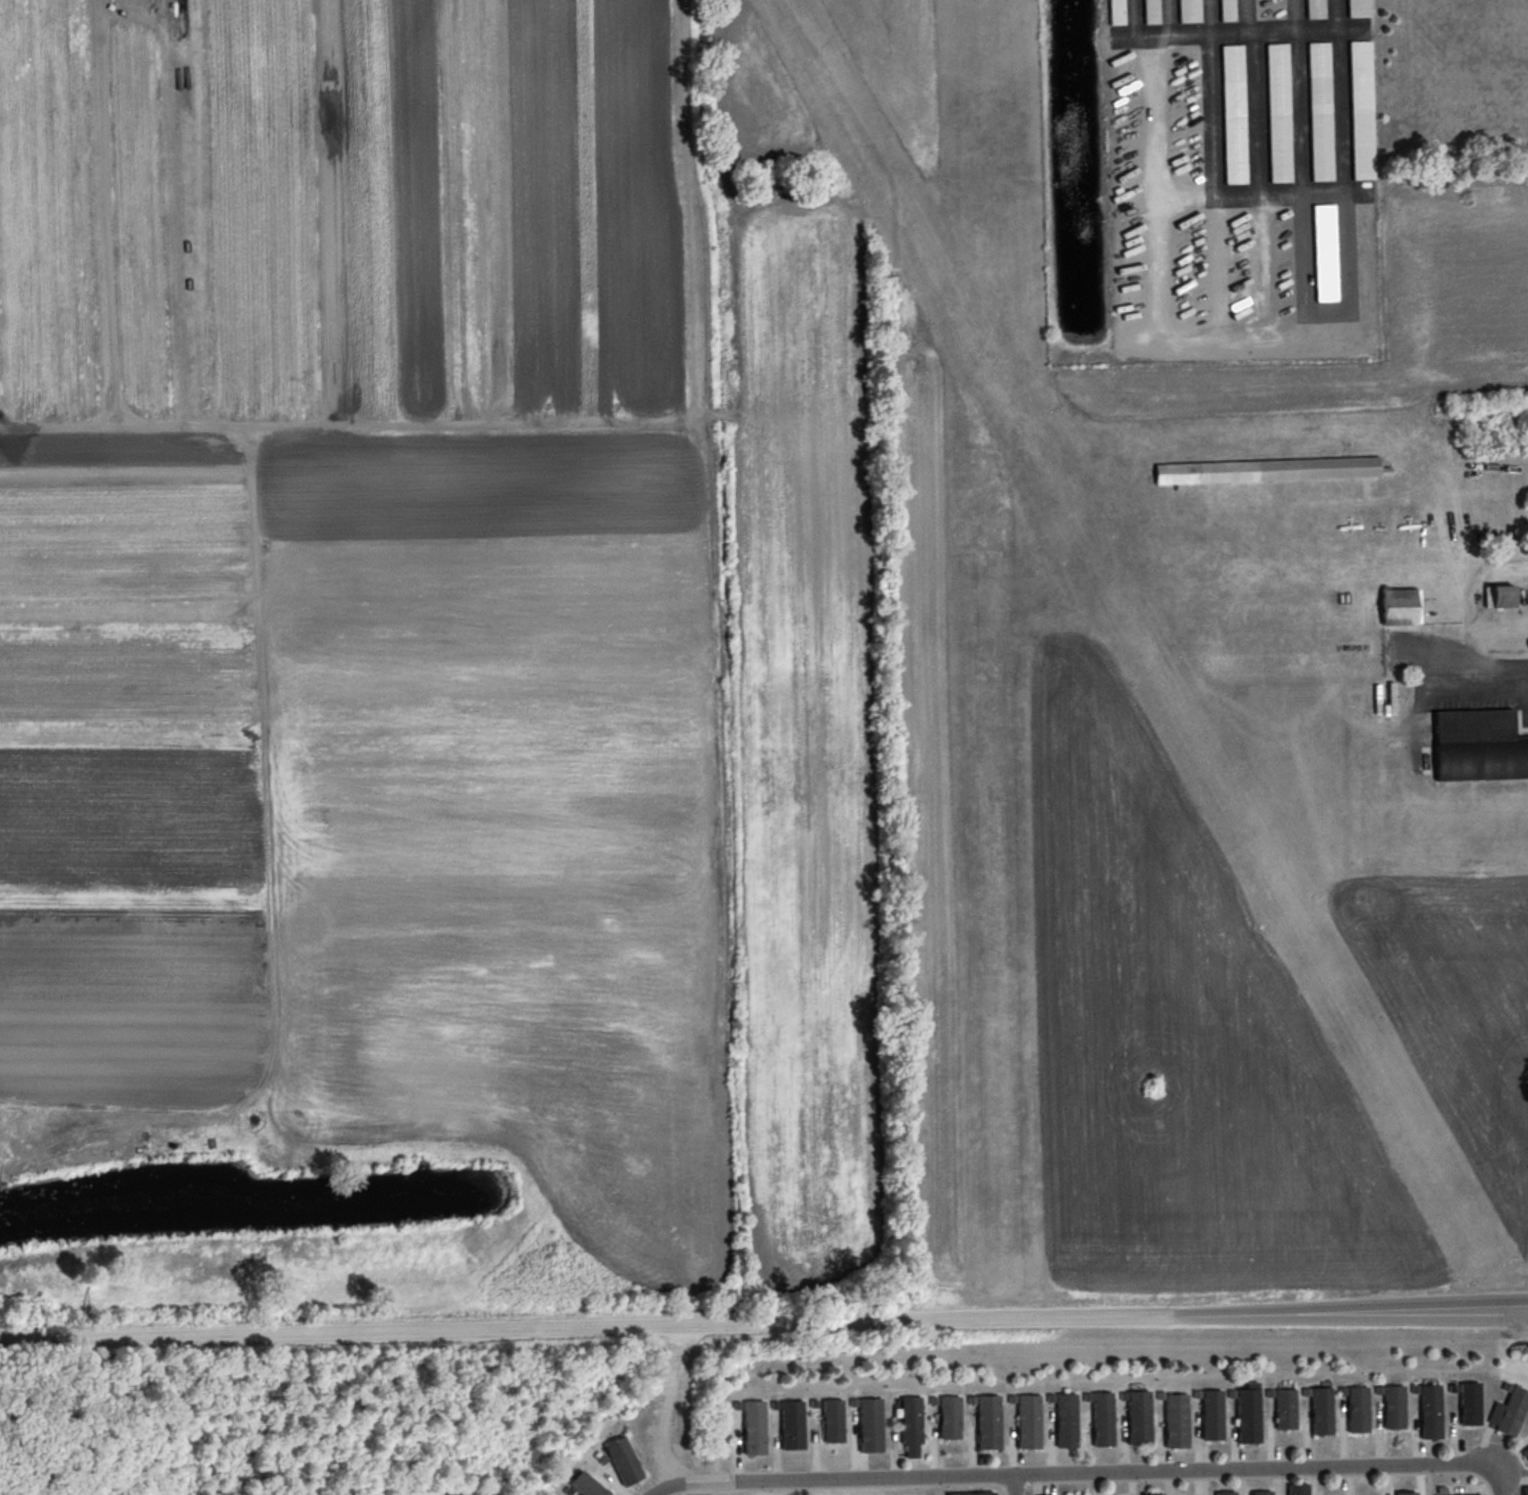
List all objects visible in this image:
building: (1358, 8)
building: (1314, 9)
building: (1227, 10)
building: (1150, 11)
building: (1189, 11)
building: (1116, 12)
road: (1128, 18)
road: (1247, 33)
building: (1361, 110)
building: (1320, 111)
building: (1278, 112)
building: (1234, 114)
road: (1278, 188)
road: (692, 205)
building: (1325, 252)
road: (412, 419)
building: (1270, 469)
building: (1499, 596)
road: (1467, 601)
building: (1399, 606)
airport runway: (1135, 636)
airport runway: (990, 647)
road: (1481, 680)
building: (1390, 704)
building: (1478, 745)
airport: (1163, 749)
road: (1347, 1314)
road: (583, 1329)
building: (1470, 1403)
road: (665, 1406)
building: (1394, 1406)
building: (1285, 1408)
building: (1357, 1409)
building: (1321, 1410)
building: (1430, 1411)
building: (1509, 1411)
building: (1248, 1413)
building: (1211, 1414)
building: (949, 1416)
building: (1102, 1418)
building: (832, 1420)
building: (1066, 1420)
building: (1176, 1420)
building: (988, 1421)
building: (1028, 1421)
building: (792, 1424)
building: (870, 1424)
building: (911, 1425)
building: (754, 1427)
building: (1525, 1451)
building: (623, 1460)
road: (1070, 1472)
road: (1498, 1479)
road: (1014, 1484)
building: (587, 1485)
building: (1297, 1489)
building: (1525, 1490)
building: (1261, 1492)
building: (972, 1493)
building: (1152, 1493)
building: (1225, 1493)
building: (1406, 1493)
building: (1479, 1494)

